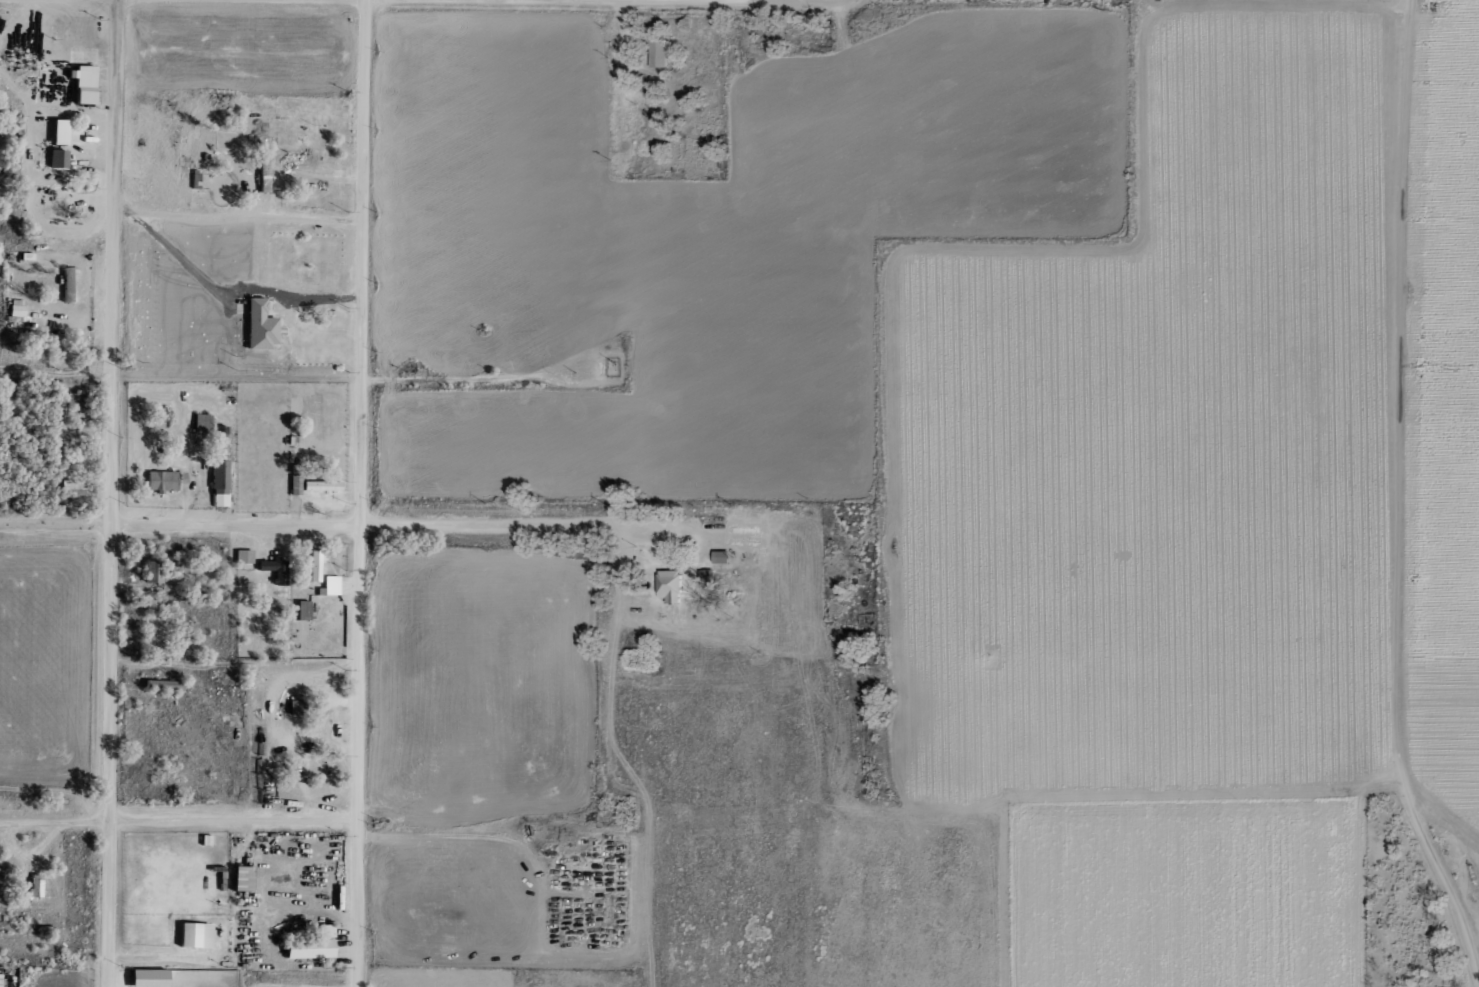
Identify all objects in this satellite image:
road: (805, 1)
building: (655, 53)
building: (81, 85)
building: (56, 133)
building: (55, 160)
road: (172, 255)
building: (66, 283)
building: (15, 311)
building: (257, 326)
building: (75, 404)
building: (200, 423)
building: (162, 481)
building: (217, 485)
building: (319, 487)
road: (111, 493)
road: (361, 493)
road: (1396, 500)
road: (306, 523)
building: (242, 557)
building: (718, 557)
building: (312, 566)
building: (273, 570)
building: (151, 572)
building: (704, 577)
building: (666, 586)
building: (328, 587)
building: (302, 611)
building: (293, 710)
road: (235, 818)
road: (56, 821)
building: (237, 880)
building: (33, 887)
building: (192, 936)
building: (309, 946)
building: (145, 978)

